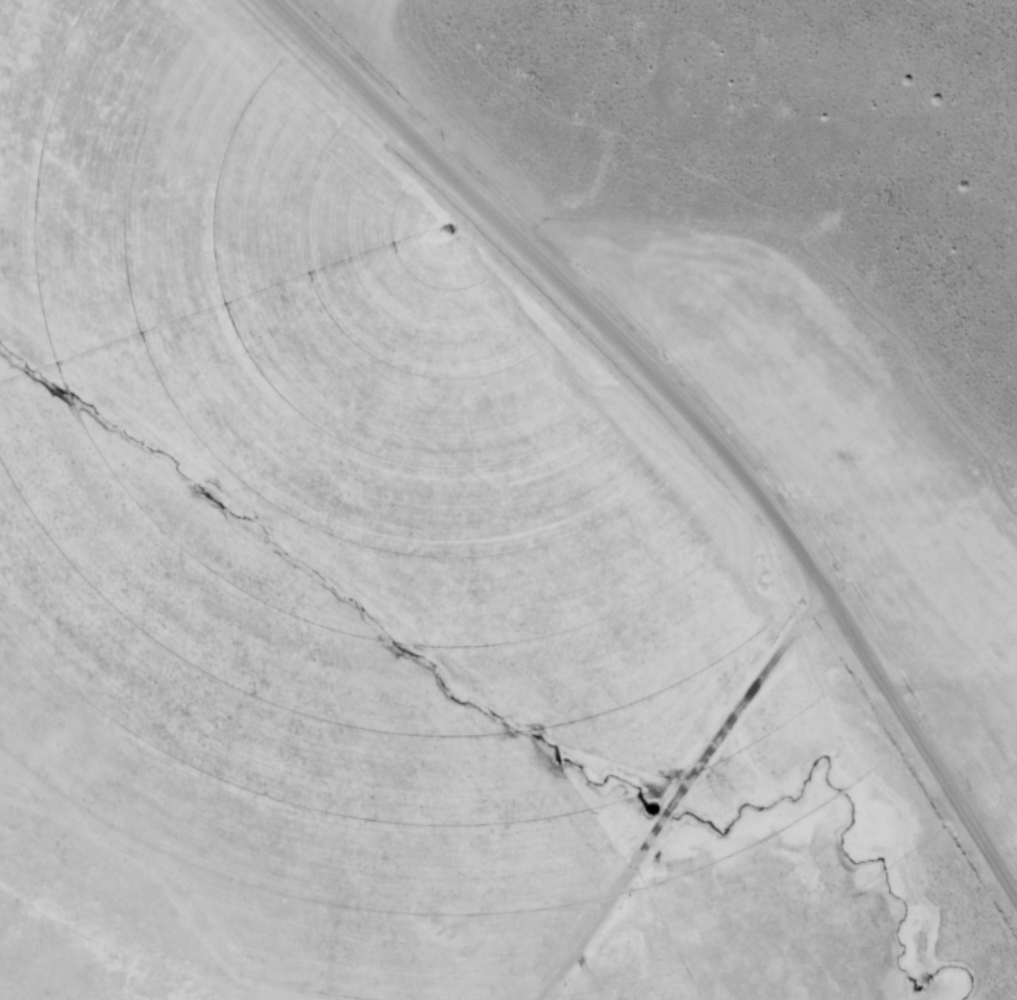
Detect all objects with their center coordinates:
road: (691, 410)
road: (680, 795)

